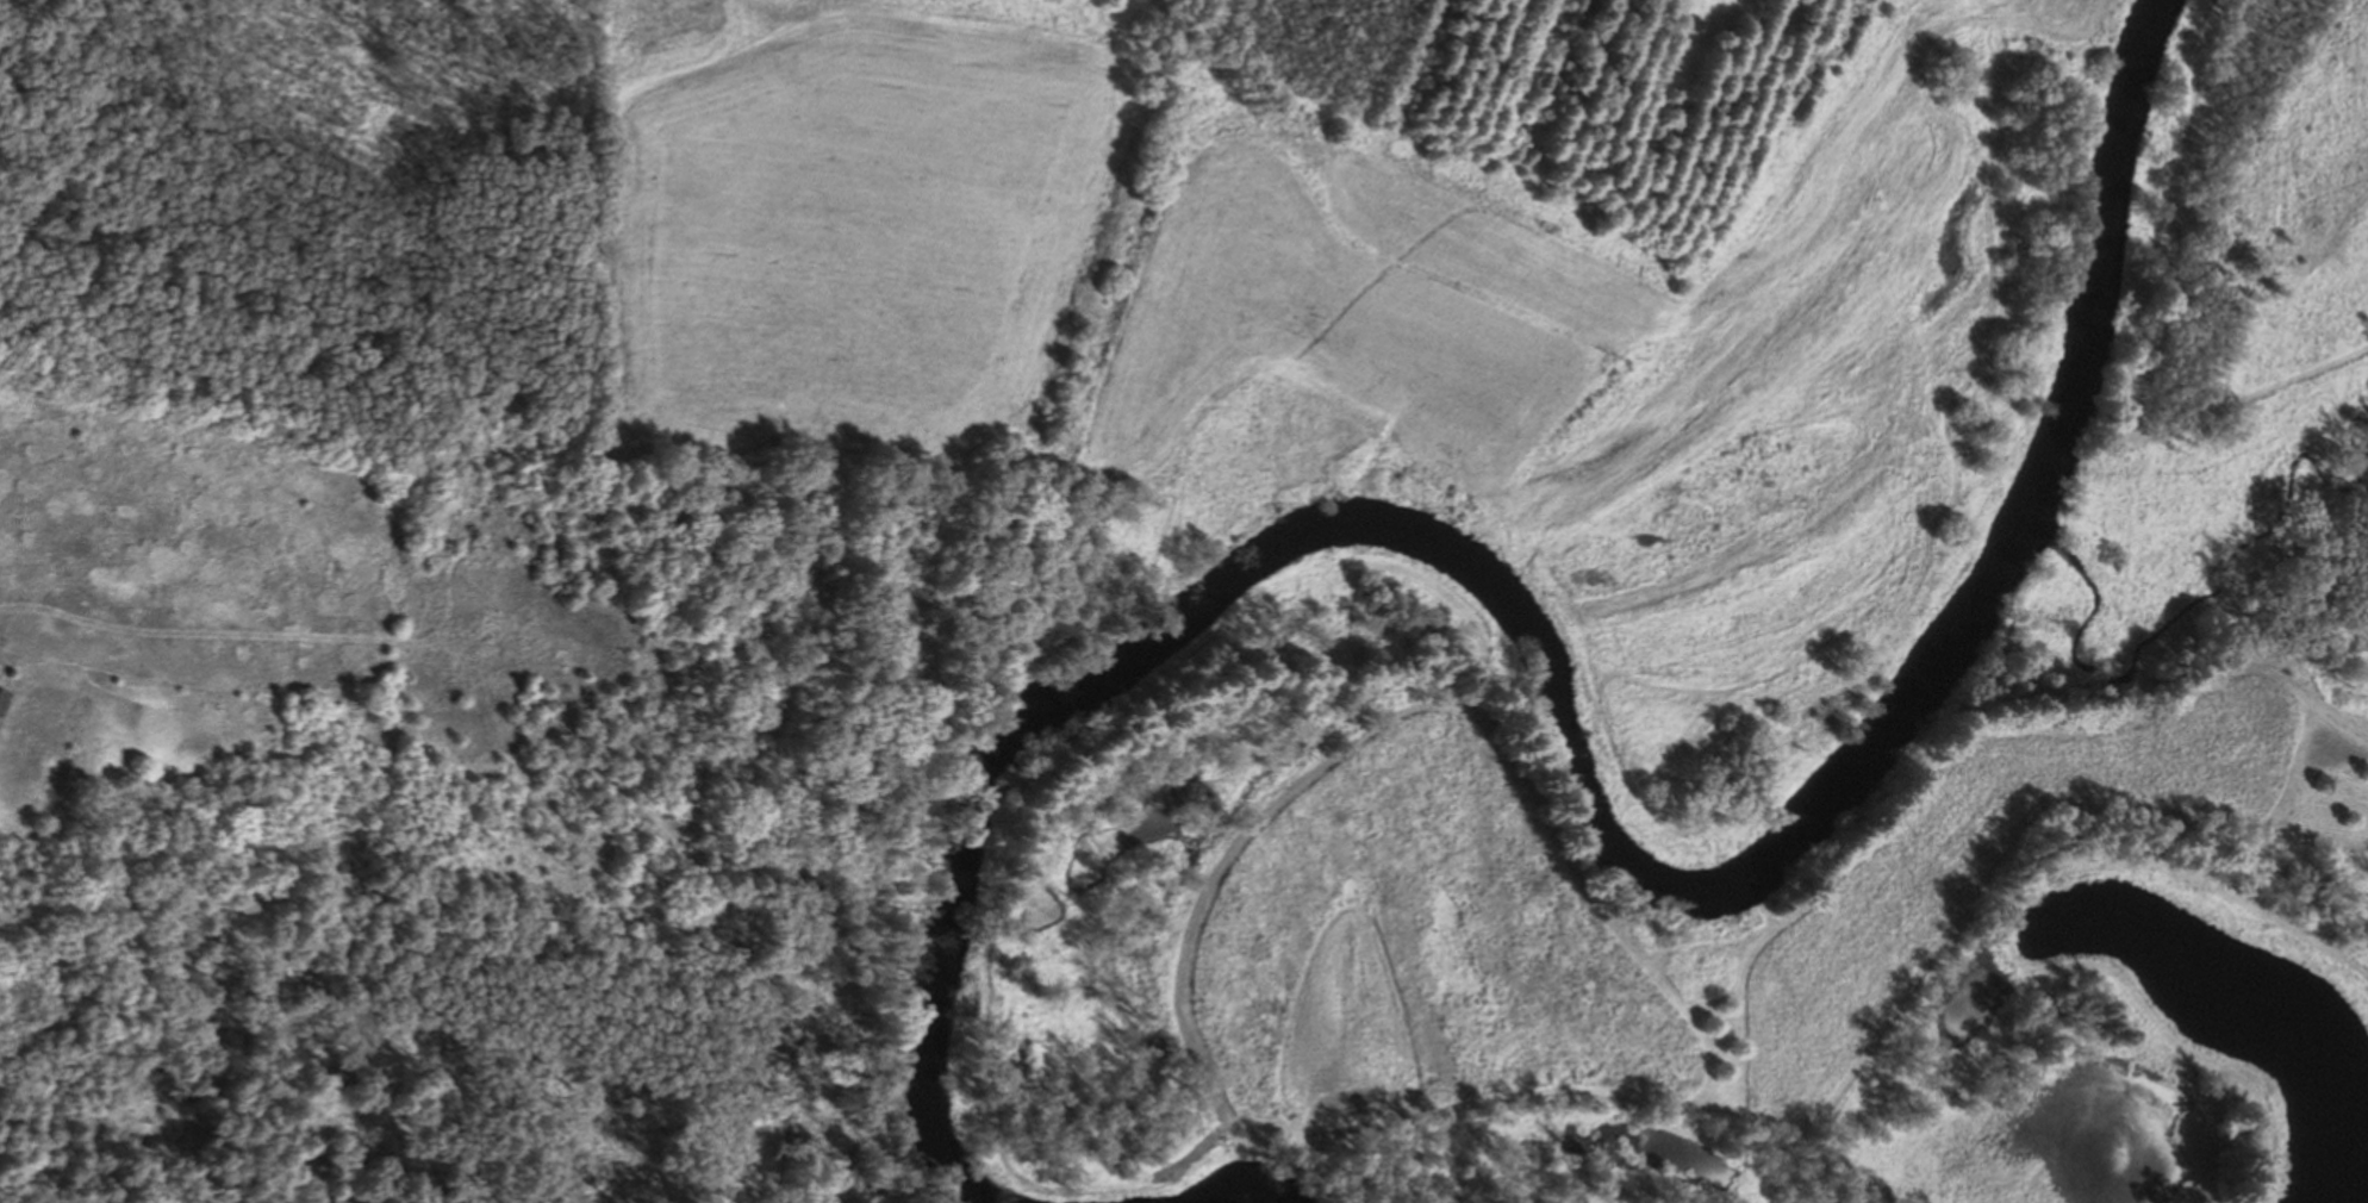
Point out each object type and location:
building: (6, 699)
river: (1583, 815)

